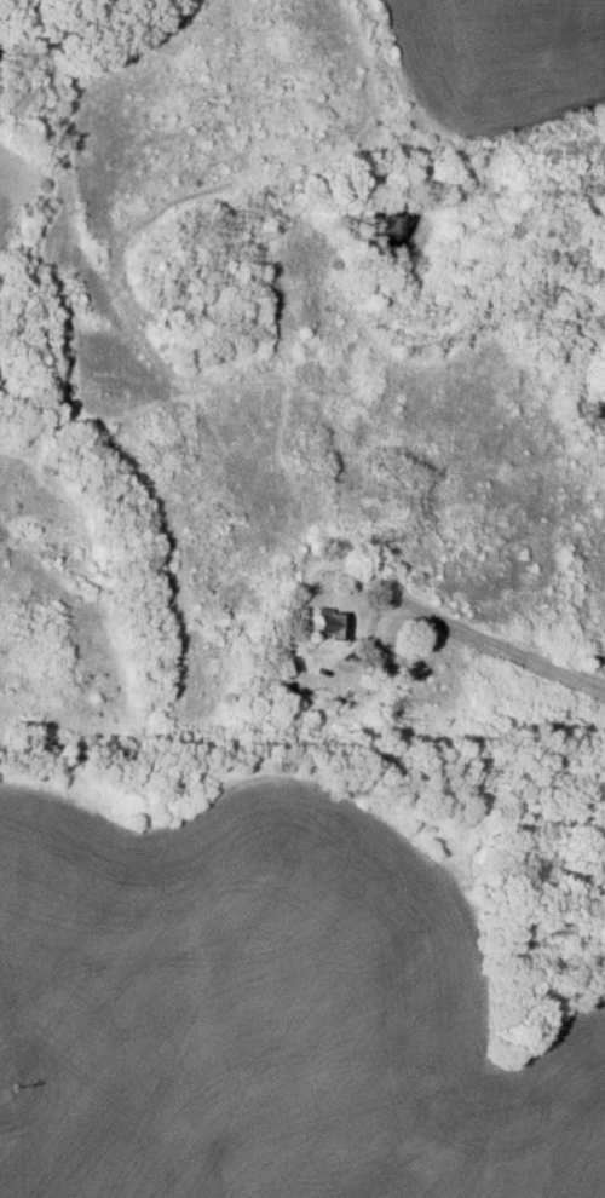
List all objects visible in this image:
building: (371, 557)
road: (473, 611)
building: (330, 623)

